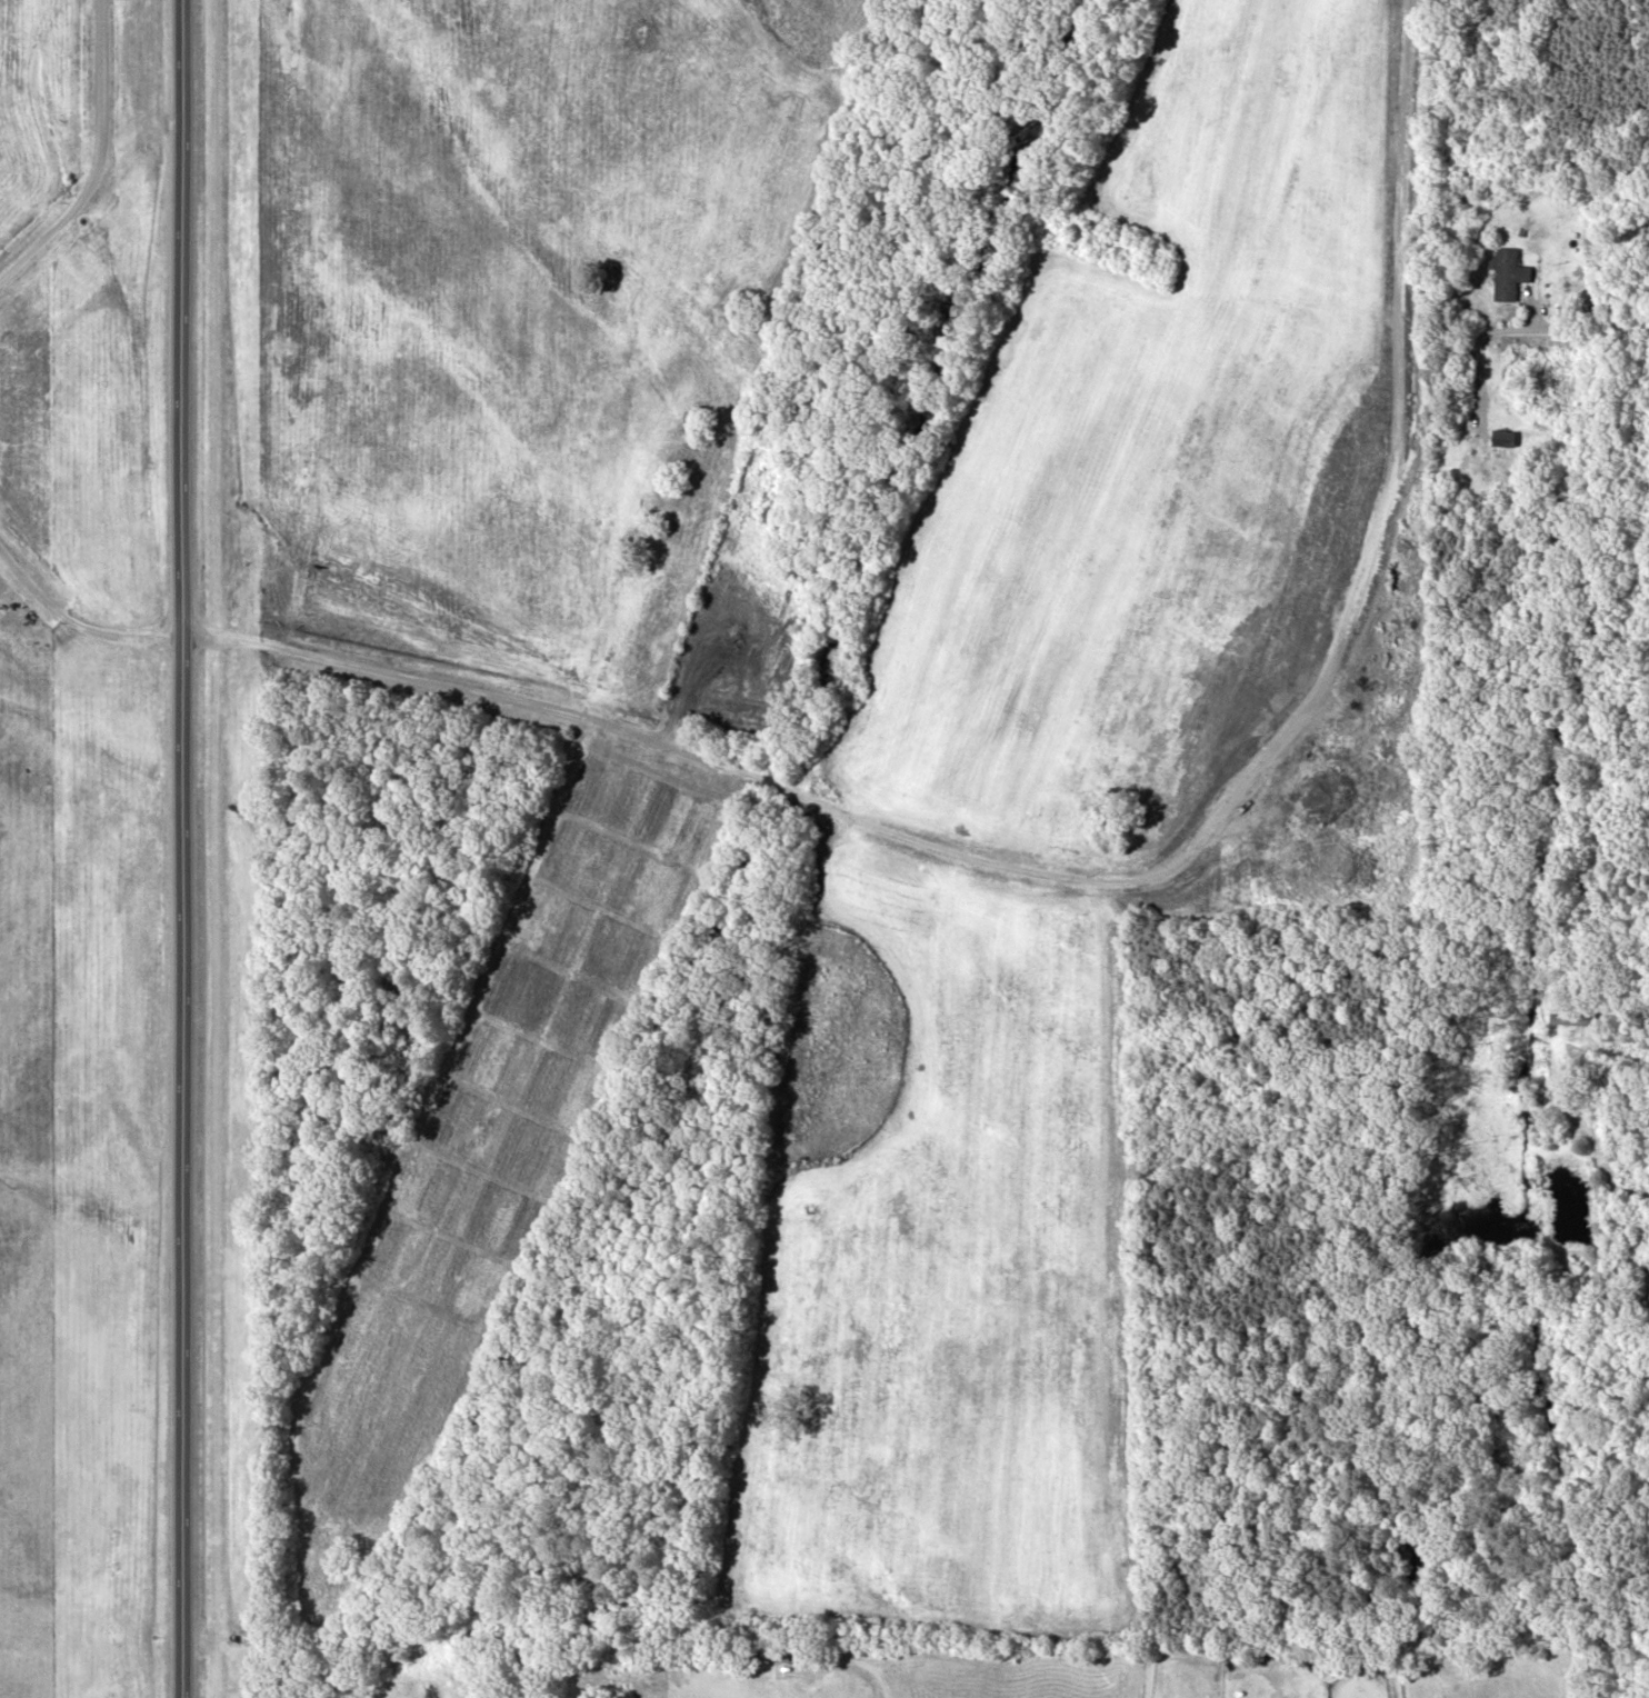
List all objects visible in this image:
road: (101, 160)
building: (1506, 271)
road: (1576, 326)
building: (1502, 435)
road: (319, 652)
road: (182, 849)
building: (1570, 1017)
road: (1605, 1160)
building: (766, 1654)
road: (851, 1666)

